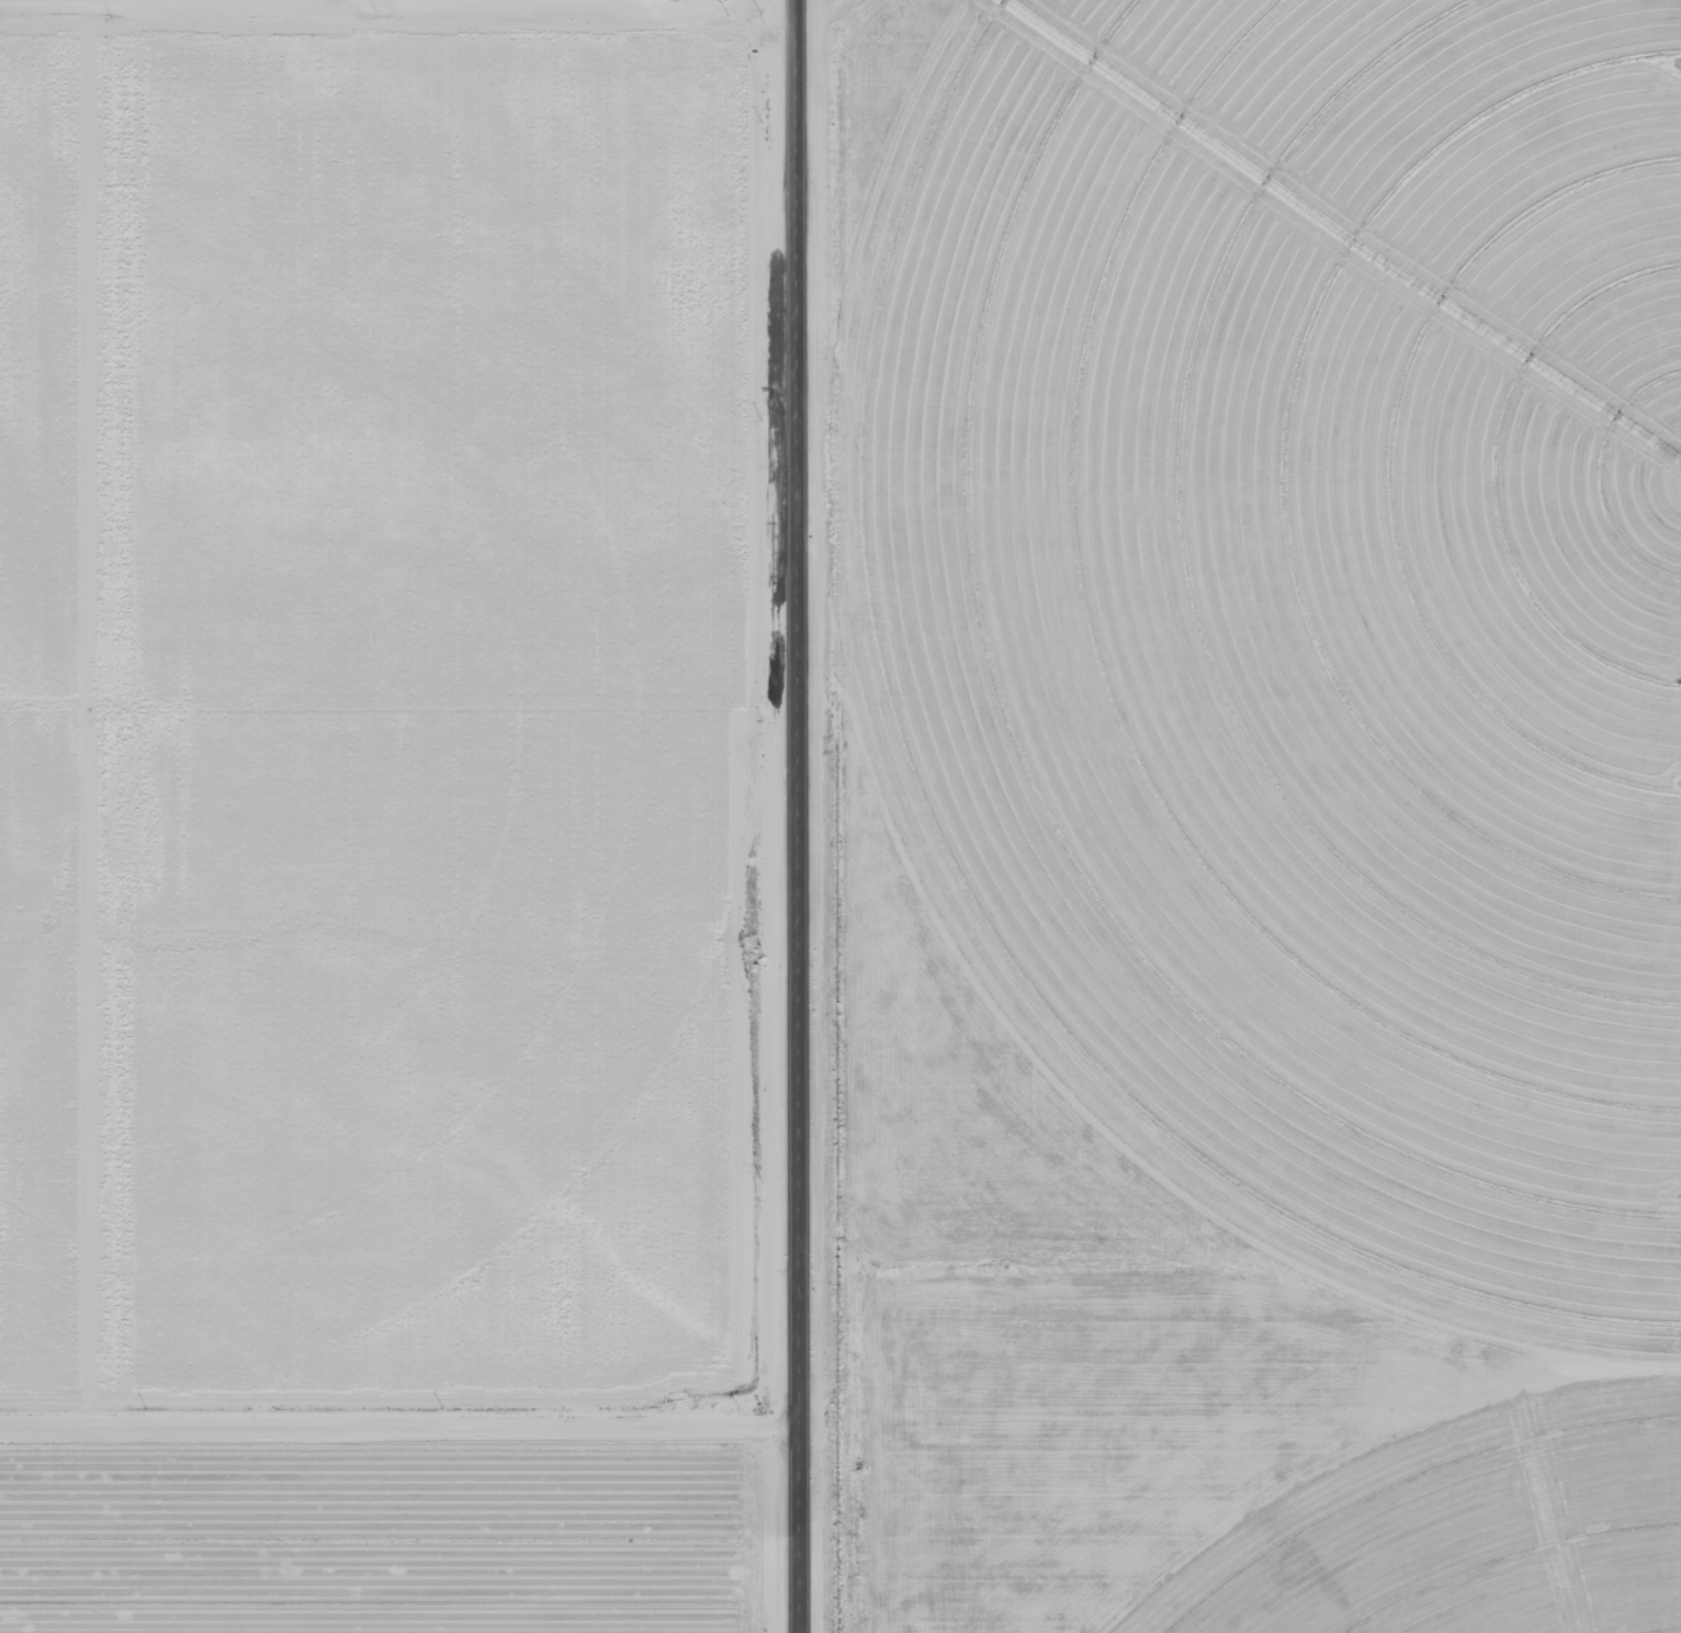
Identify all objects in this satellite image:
road: (397, 392)
crop: (1308, 601)
road: (797, 816)
road: (399, 1427)
crop: (1476, 1540)

